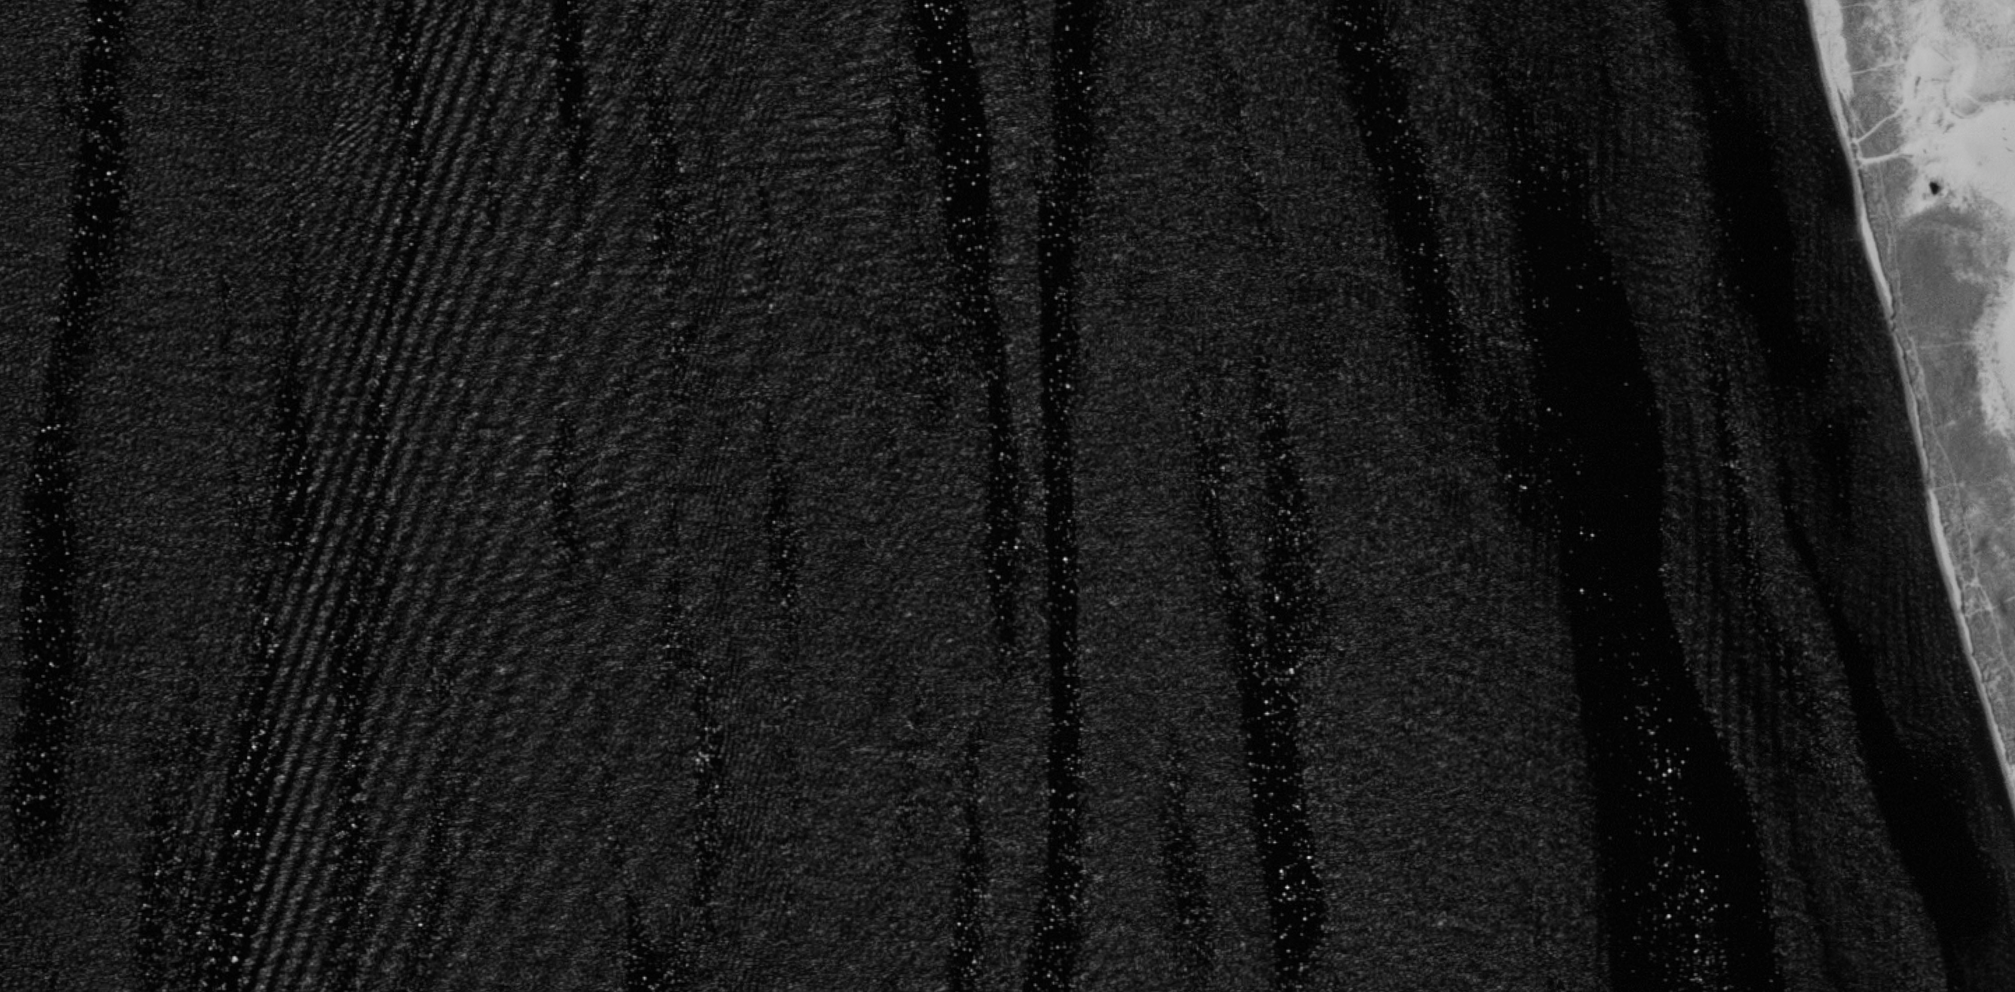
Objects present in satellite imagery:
road: (1960, 146)
park: (1924, 373)

